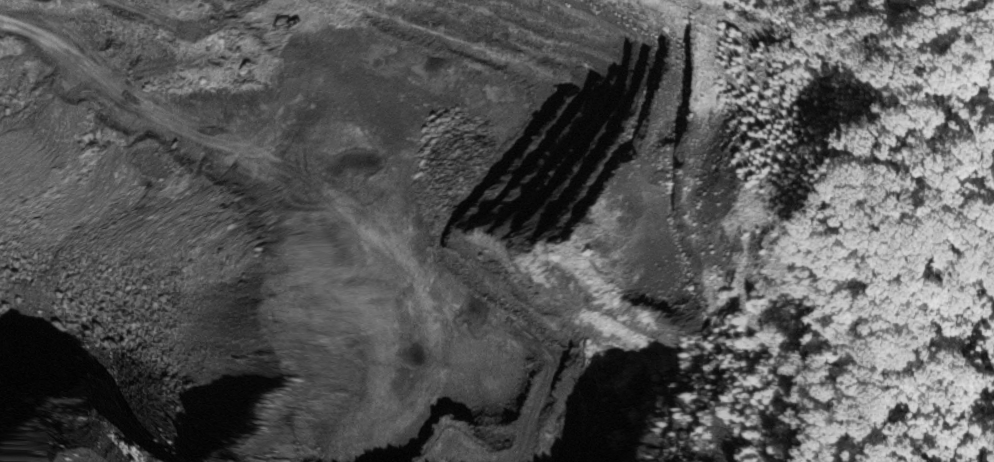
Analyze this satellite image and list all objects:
quarry: (407, 229)

